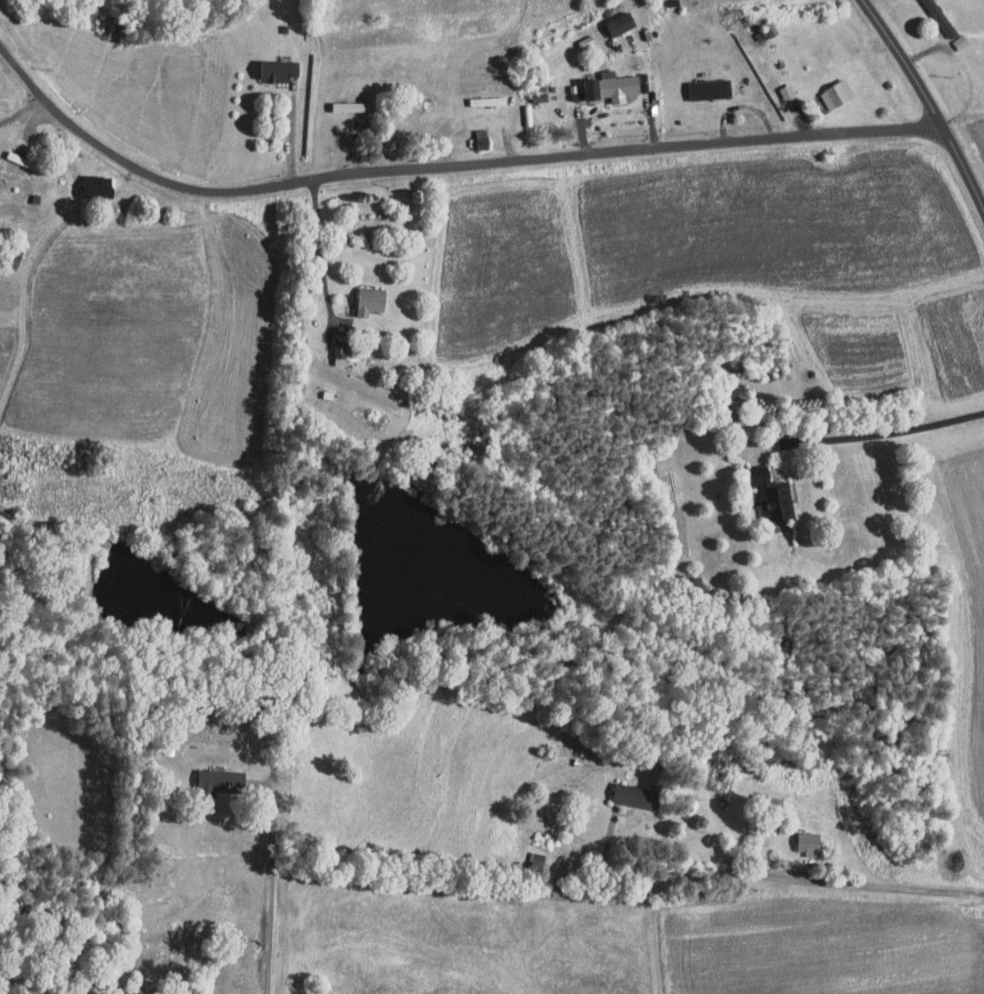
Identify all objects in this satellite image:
building: (610, 17)
building: (268, 64)
building: (602, 81)
building: (701, 82)
building: (777, 85)
building: (827, 88)
building: (477, 94)
road: (927, 103)
road: (292, 132)
road: (626, 151)
road: (132, 170)
building: (88, 180)
road: (315, 240)
building: (361, 294)
building: (332, 342)
road: (873, 434)
building: (764, 491)
building: (211, 776)
building: (626, 790)
building: (799, 837)
building: (526, 855)
road: (798, 878)
road: (270, 892)

